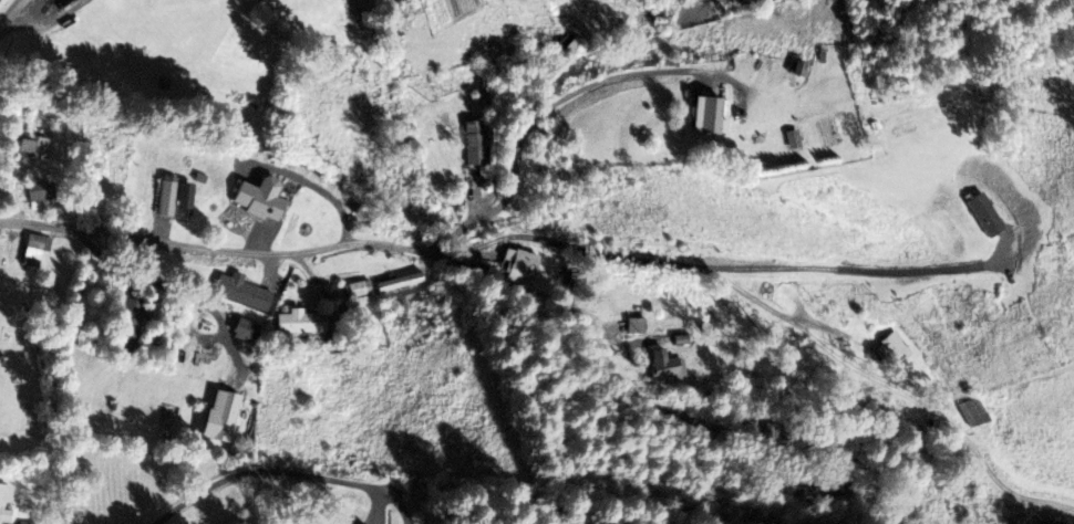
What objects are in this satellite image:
building: (62, 2)
road: (10, 12)
road: (37, 20)
building: (570, 41)
dam: (370, 56)
dam: (324, 94)
building: (710, 114)
road: (534, 115)
building: (474, 142)
dam: (269, 143)
building: (33, 144)
dam: (251, 158)
building: (41, 188)
building: (166, 197)
building: (261, 197)
building: (987, 212)
building: (35, 247)
road: (417, 249)
building: (521, 262)
road: (855, 269)
building: (400, 280)
building: (358, 286)
road: (172, 289)
building: (246, 291)
road: (782, 314)
building: (301, 319)
building: (131, 324)
building: (637, 324)
building: (337, 325)
building: (246, 327)
building: (891, 345)
building: (667, 365)
building: (973, 411)
building: (221, 413)
road: (269, 470)
building: (824, 489)
building: (6, 501)
building: (25, 522)
building: (360, 522)

